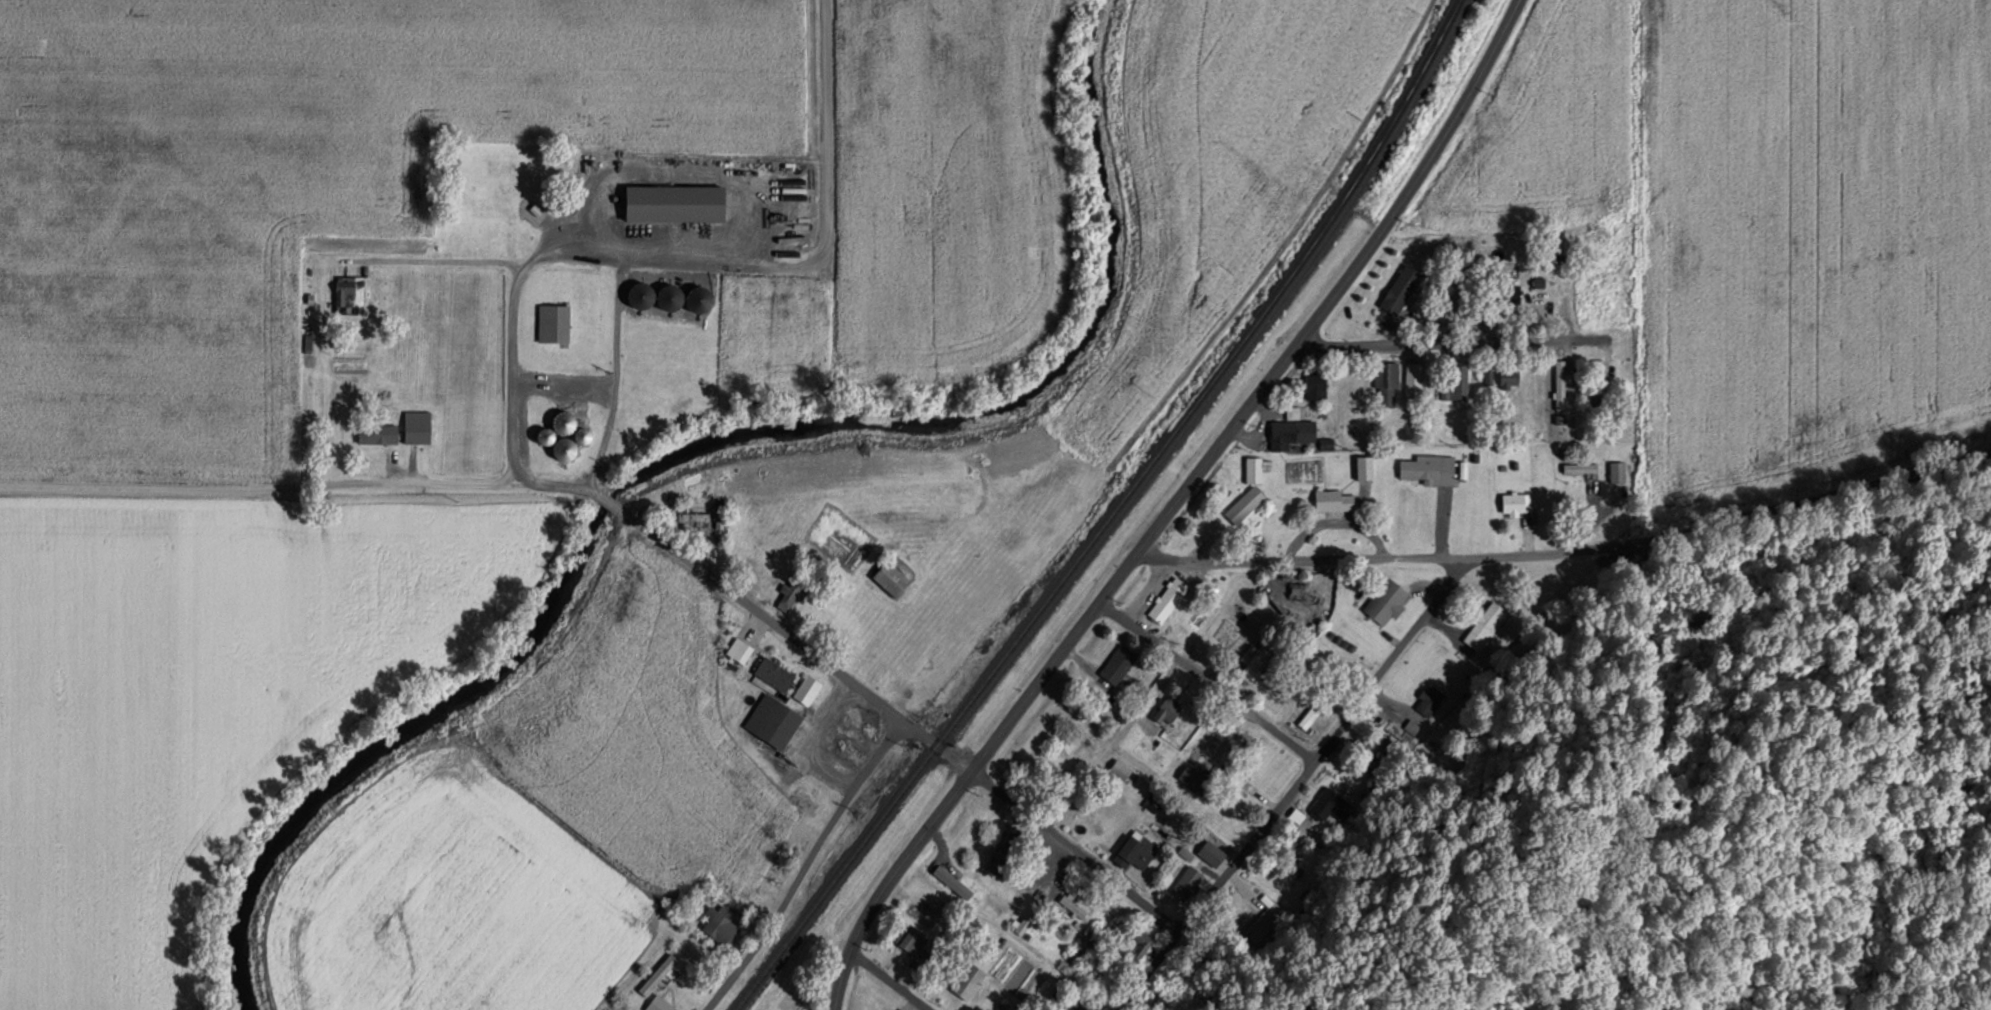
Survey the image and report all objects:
road: (1415, 177)
building: (674, 203)
building: (505, 204)
road: (693, 260)
road: (447, 261)
building: (1576, 288)
building: (1403, 290)
building: (350, 294)
building: (640, 296)
building: (671, 297)
building: (700, 298)
building: (553, 322)
road: (1437, 343)
building: (1510, 376)
building: (641, 377)
building: (1414, 378)
building: (1562, 380)
building: (1598, 381)
building: (1387, 383)
building: (1457, 383)
building: (1316, 385)
building: (566, 406)
building: (635, 422)
building: (417, 426)
building: (1292, 432)
building: (377, 433)
building: (581, 435)
building: (564, 448)
building: (1365, 467)
building: (1255, 469)
building: (1430, 469)
building: (1617, 472)
road: (493, 484)
building: (1335, 500)
building: (1517, 503)
building: (1245, 504)
railway: (1110, 514)
building: (694, 518)
road: (1568, 554)
building: (891, 578)
building: (1309, 593)
building: (1169, 599)
building: (1387, 601)
building: (1200, 618)
building: (1486, 624)
road: (789, 634)
building: (739, 650)
building: (1256, 661)
building: (1118, 664)
road: (1046, 667)
building: (775, 674)
road: (1205, 679)
building: (807, 689)
building: (1167, 710)
building: (1310, 715)
building: (1098, 716)
building: (773, 721)
building: (870, 729)
building: (1202, 743)
building: (1375, 746)
building: (1120, 769)
building: (1194, 780)
road: (1293, 787)
building: (1325, 806)
road: (1077, 847)
building: (1214, 849)
building: (1136, 850)
building: (1008, 853)
road: (804, 865)
building: (1187, 883)
building: (1073, 905)
building: (1029, 919)
building: (718, 923)
building: (912, 938)
building: (1137, 945)
building: (659, 969)
building: (968, 979)
road: (889, 980)
building: (658, 1003)
building: (1061, 1007)

